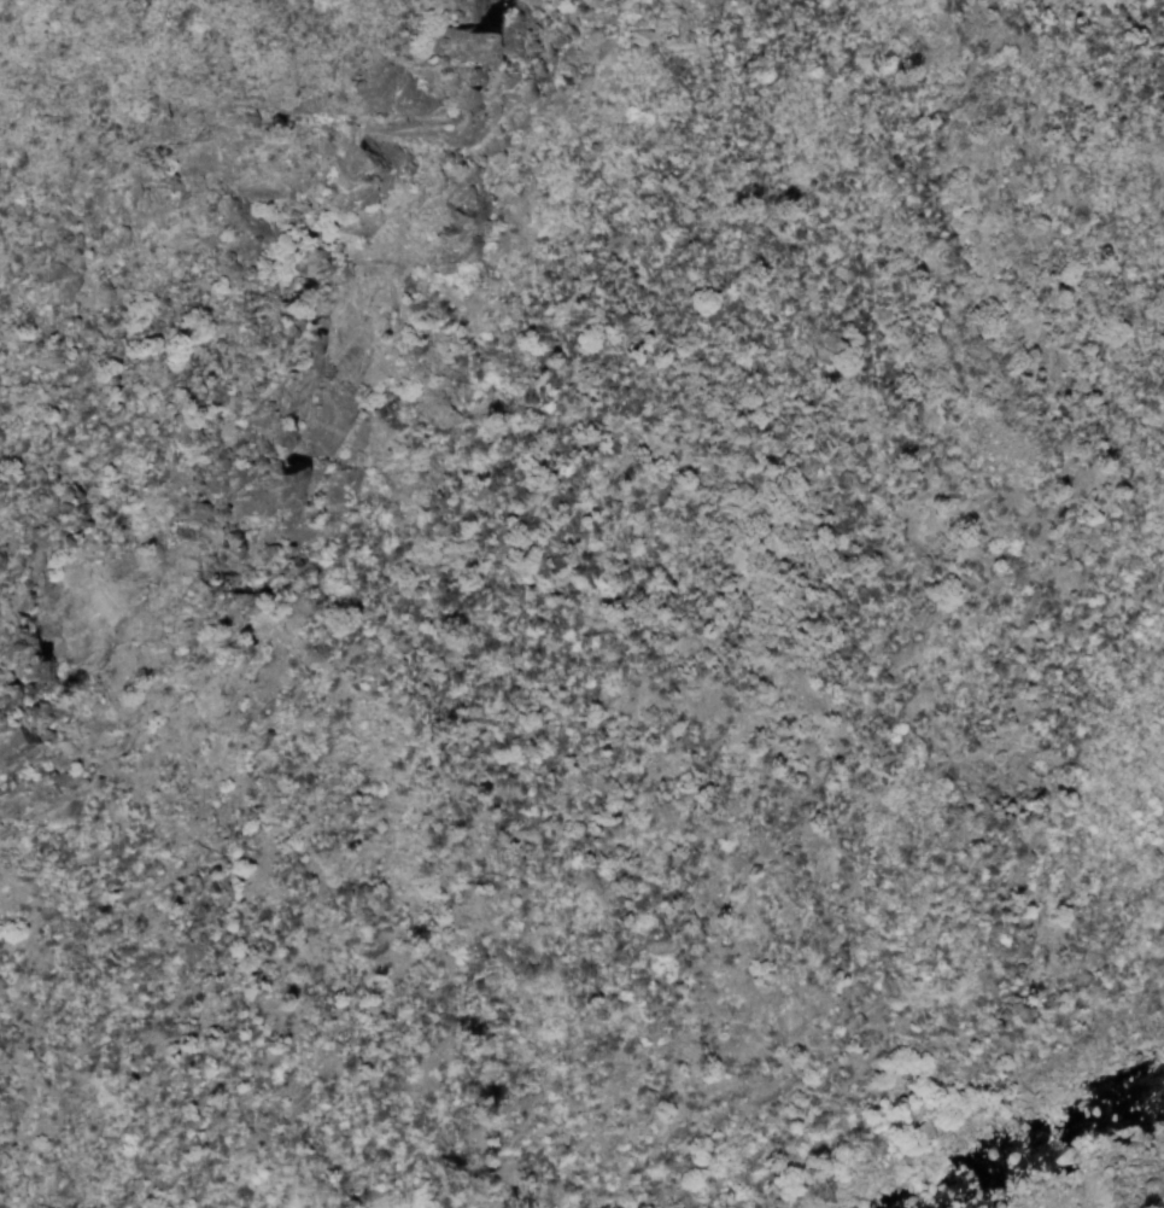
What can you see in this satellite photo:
river: (1076, 1163)

